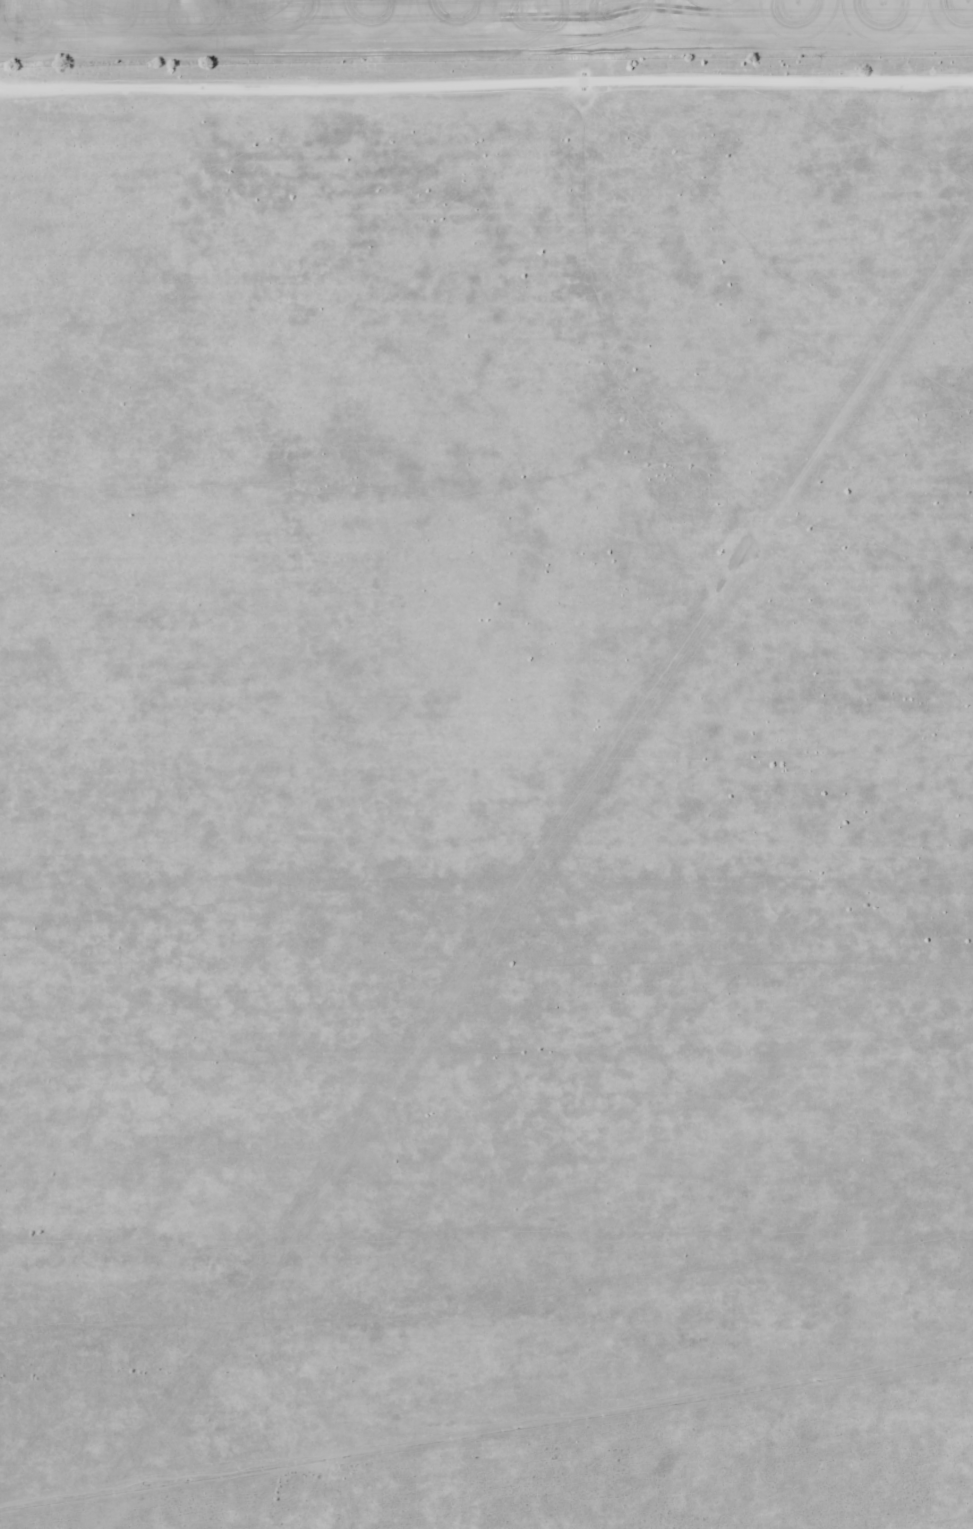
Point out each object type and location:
road: (486, 97)

